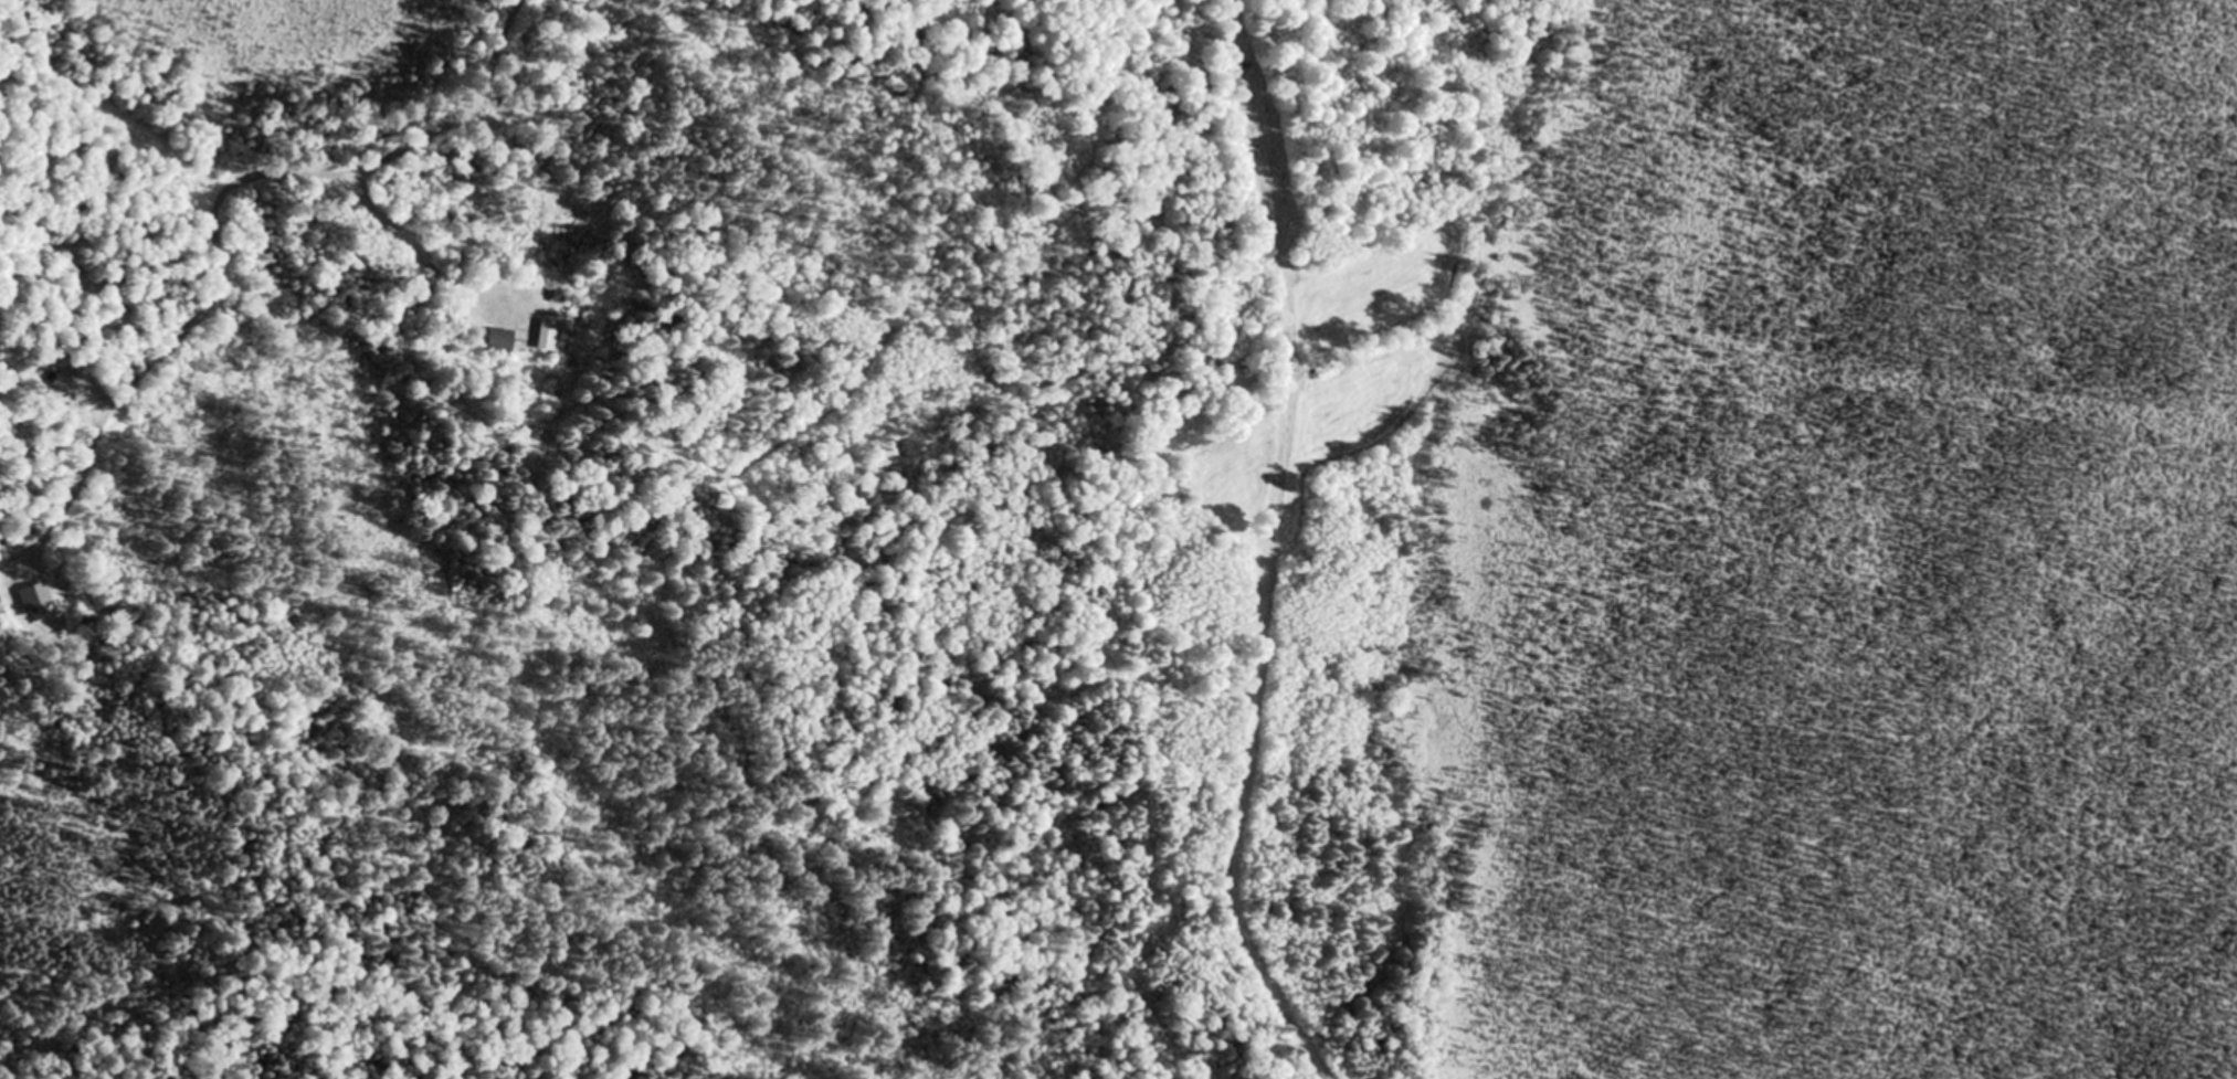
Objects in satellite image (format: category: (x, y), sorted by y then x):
road: (309, 264)
building: (540, 337)
building: (490, 340)
building: (62, 383)
road: (1280, 556)
building: (32, 597)

